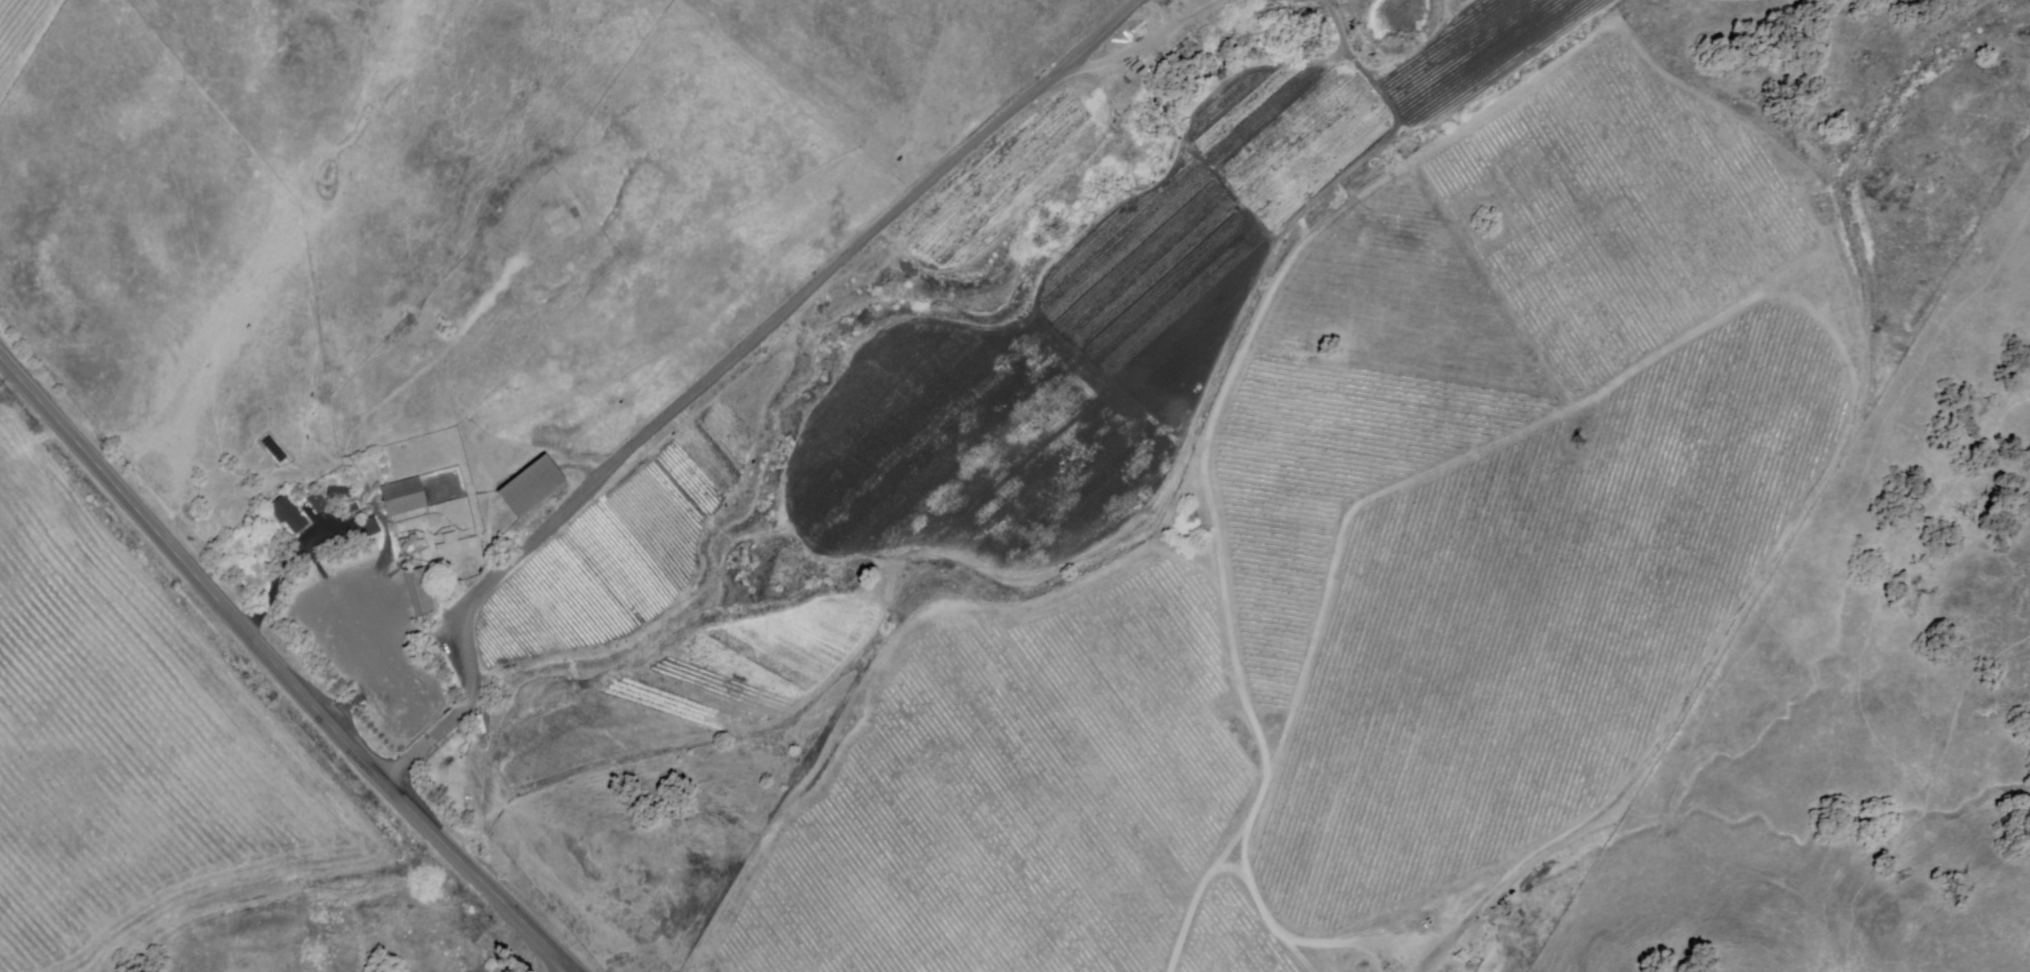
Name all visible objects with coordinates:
crop: (1478, 50)
building: (1144, 67)
crop: (1005, 180)
crop: (1075, 354)
road: (714, 369)
power tower: (1580, 442)
building: (533, 486)
building: (404, 497)
building: (319, 503)
building: (291, 515)
building: (370, 528)
crop: (636, 533)
building: (421, 594)
road: (282, 671)
crop: (701, 687)
crop: (128, 749)
road: (573, 971)

